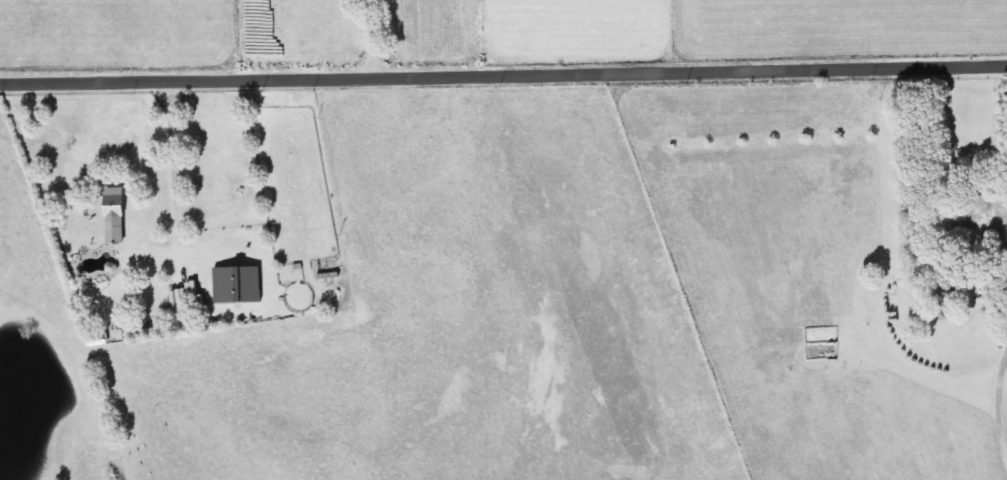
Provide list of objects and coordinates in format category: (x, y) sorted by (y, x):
road: (366, 36)
road: (503, 70)
road: (169, 153)
building: (107, 215)
building: (134, 325)
road: (993, 402)

